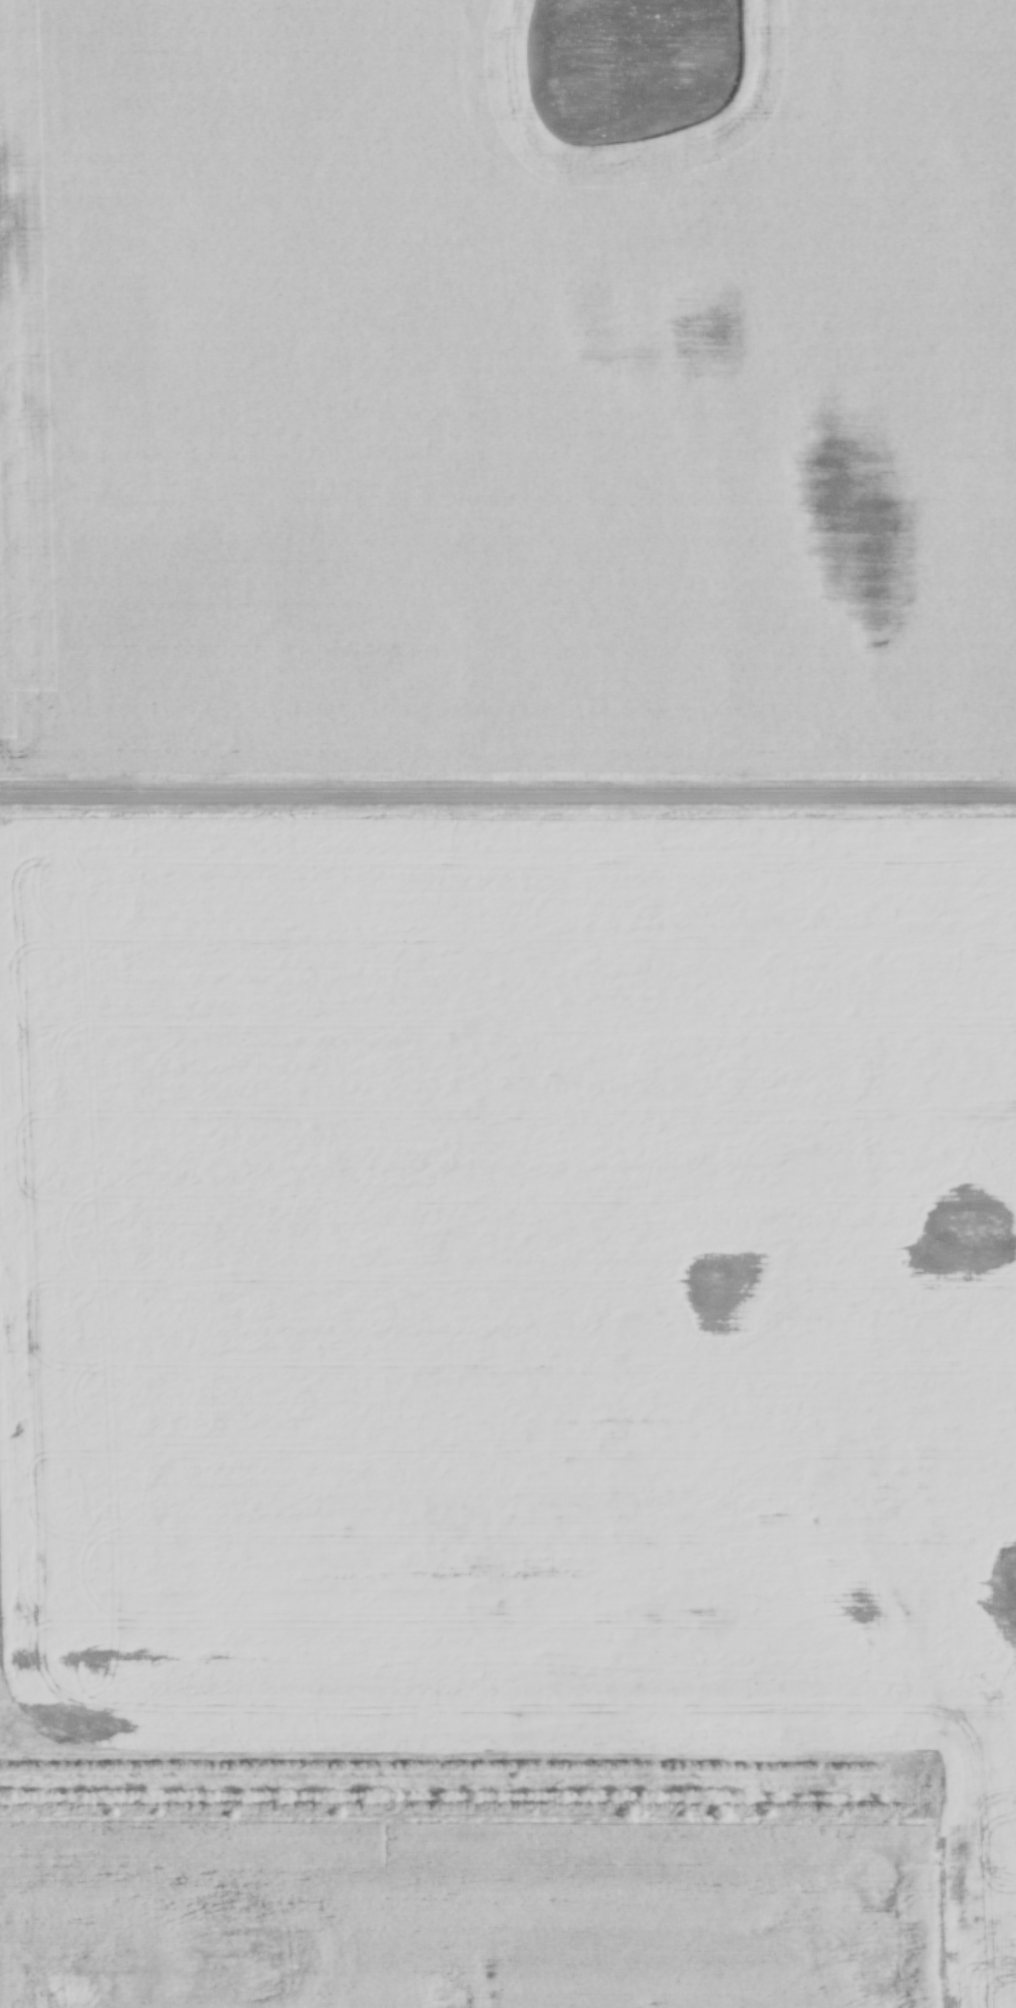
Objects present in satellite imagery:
road: (508, 794)

